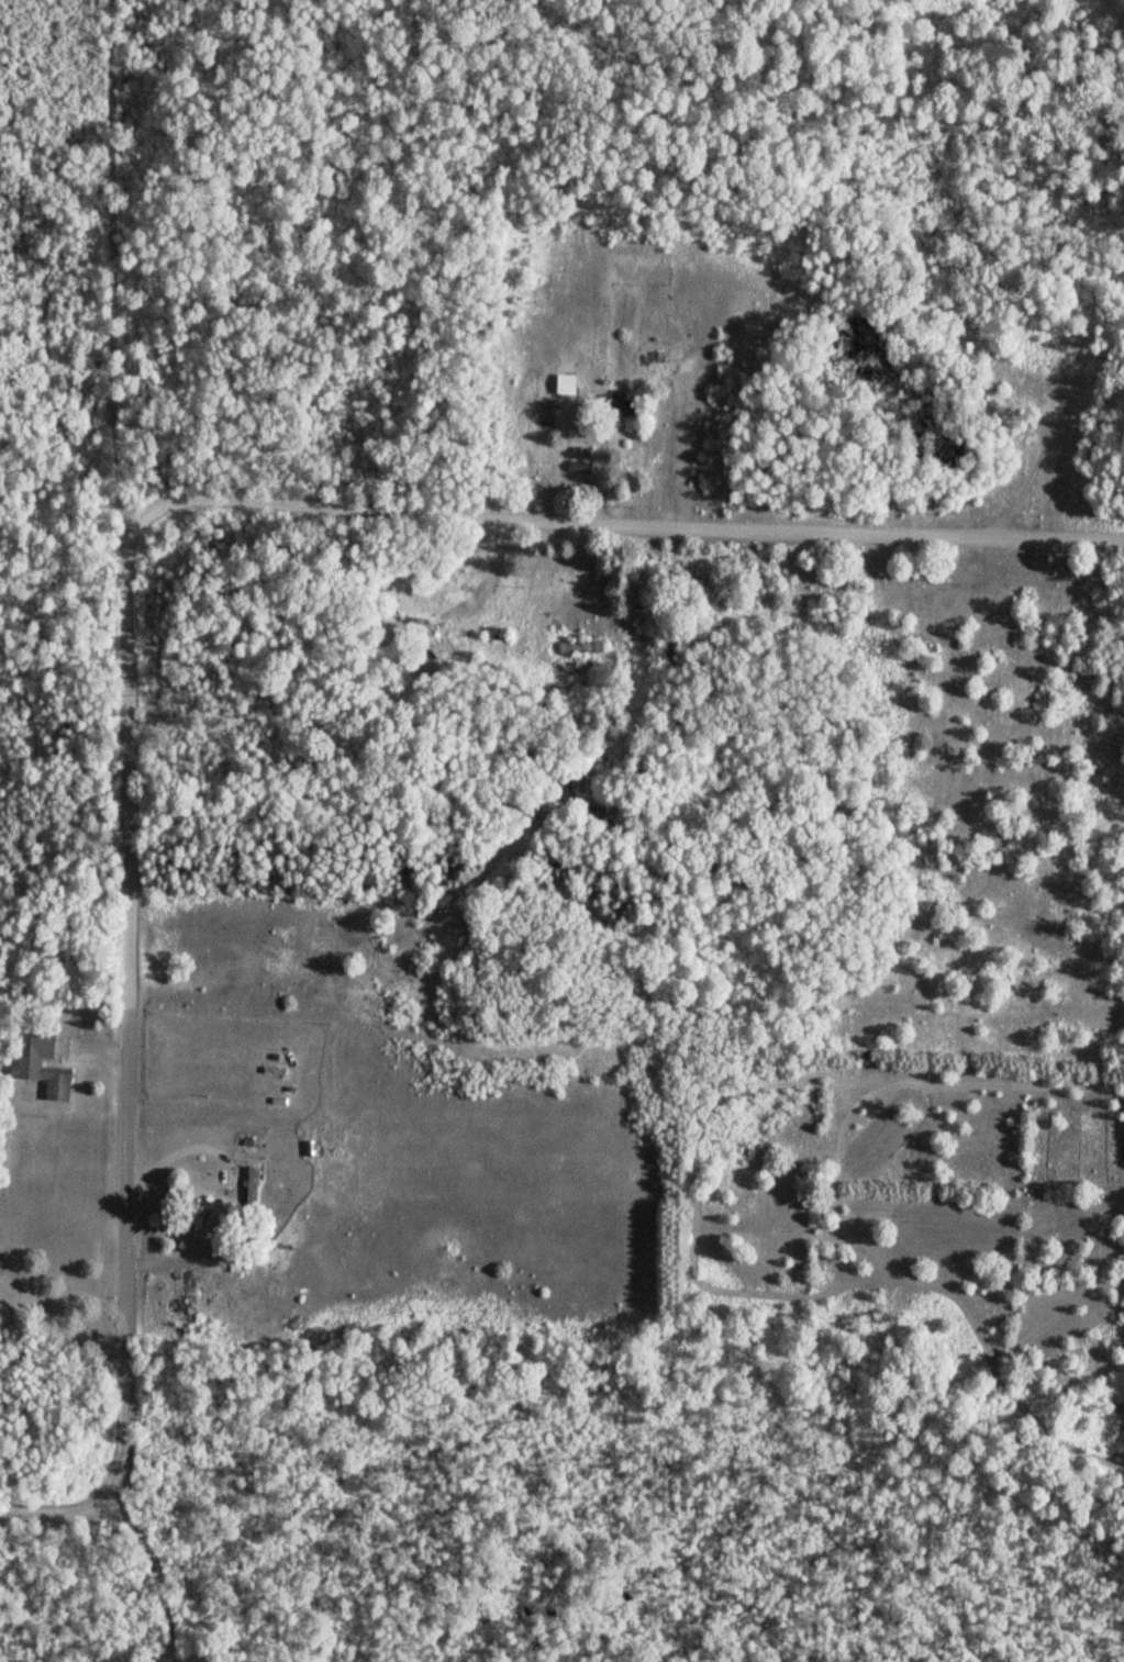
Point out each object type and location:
road: (111, 264)
building: (568, 384)
building: (623, 403)
road: (604, 526)
road: (127, 787)
building: (46, 1067)
building: (188, 1301)
road: (123, 1314)

